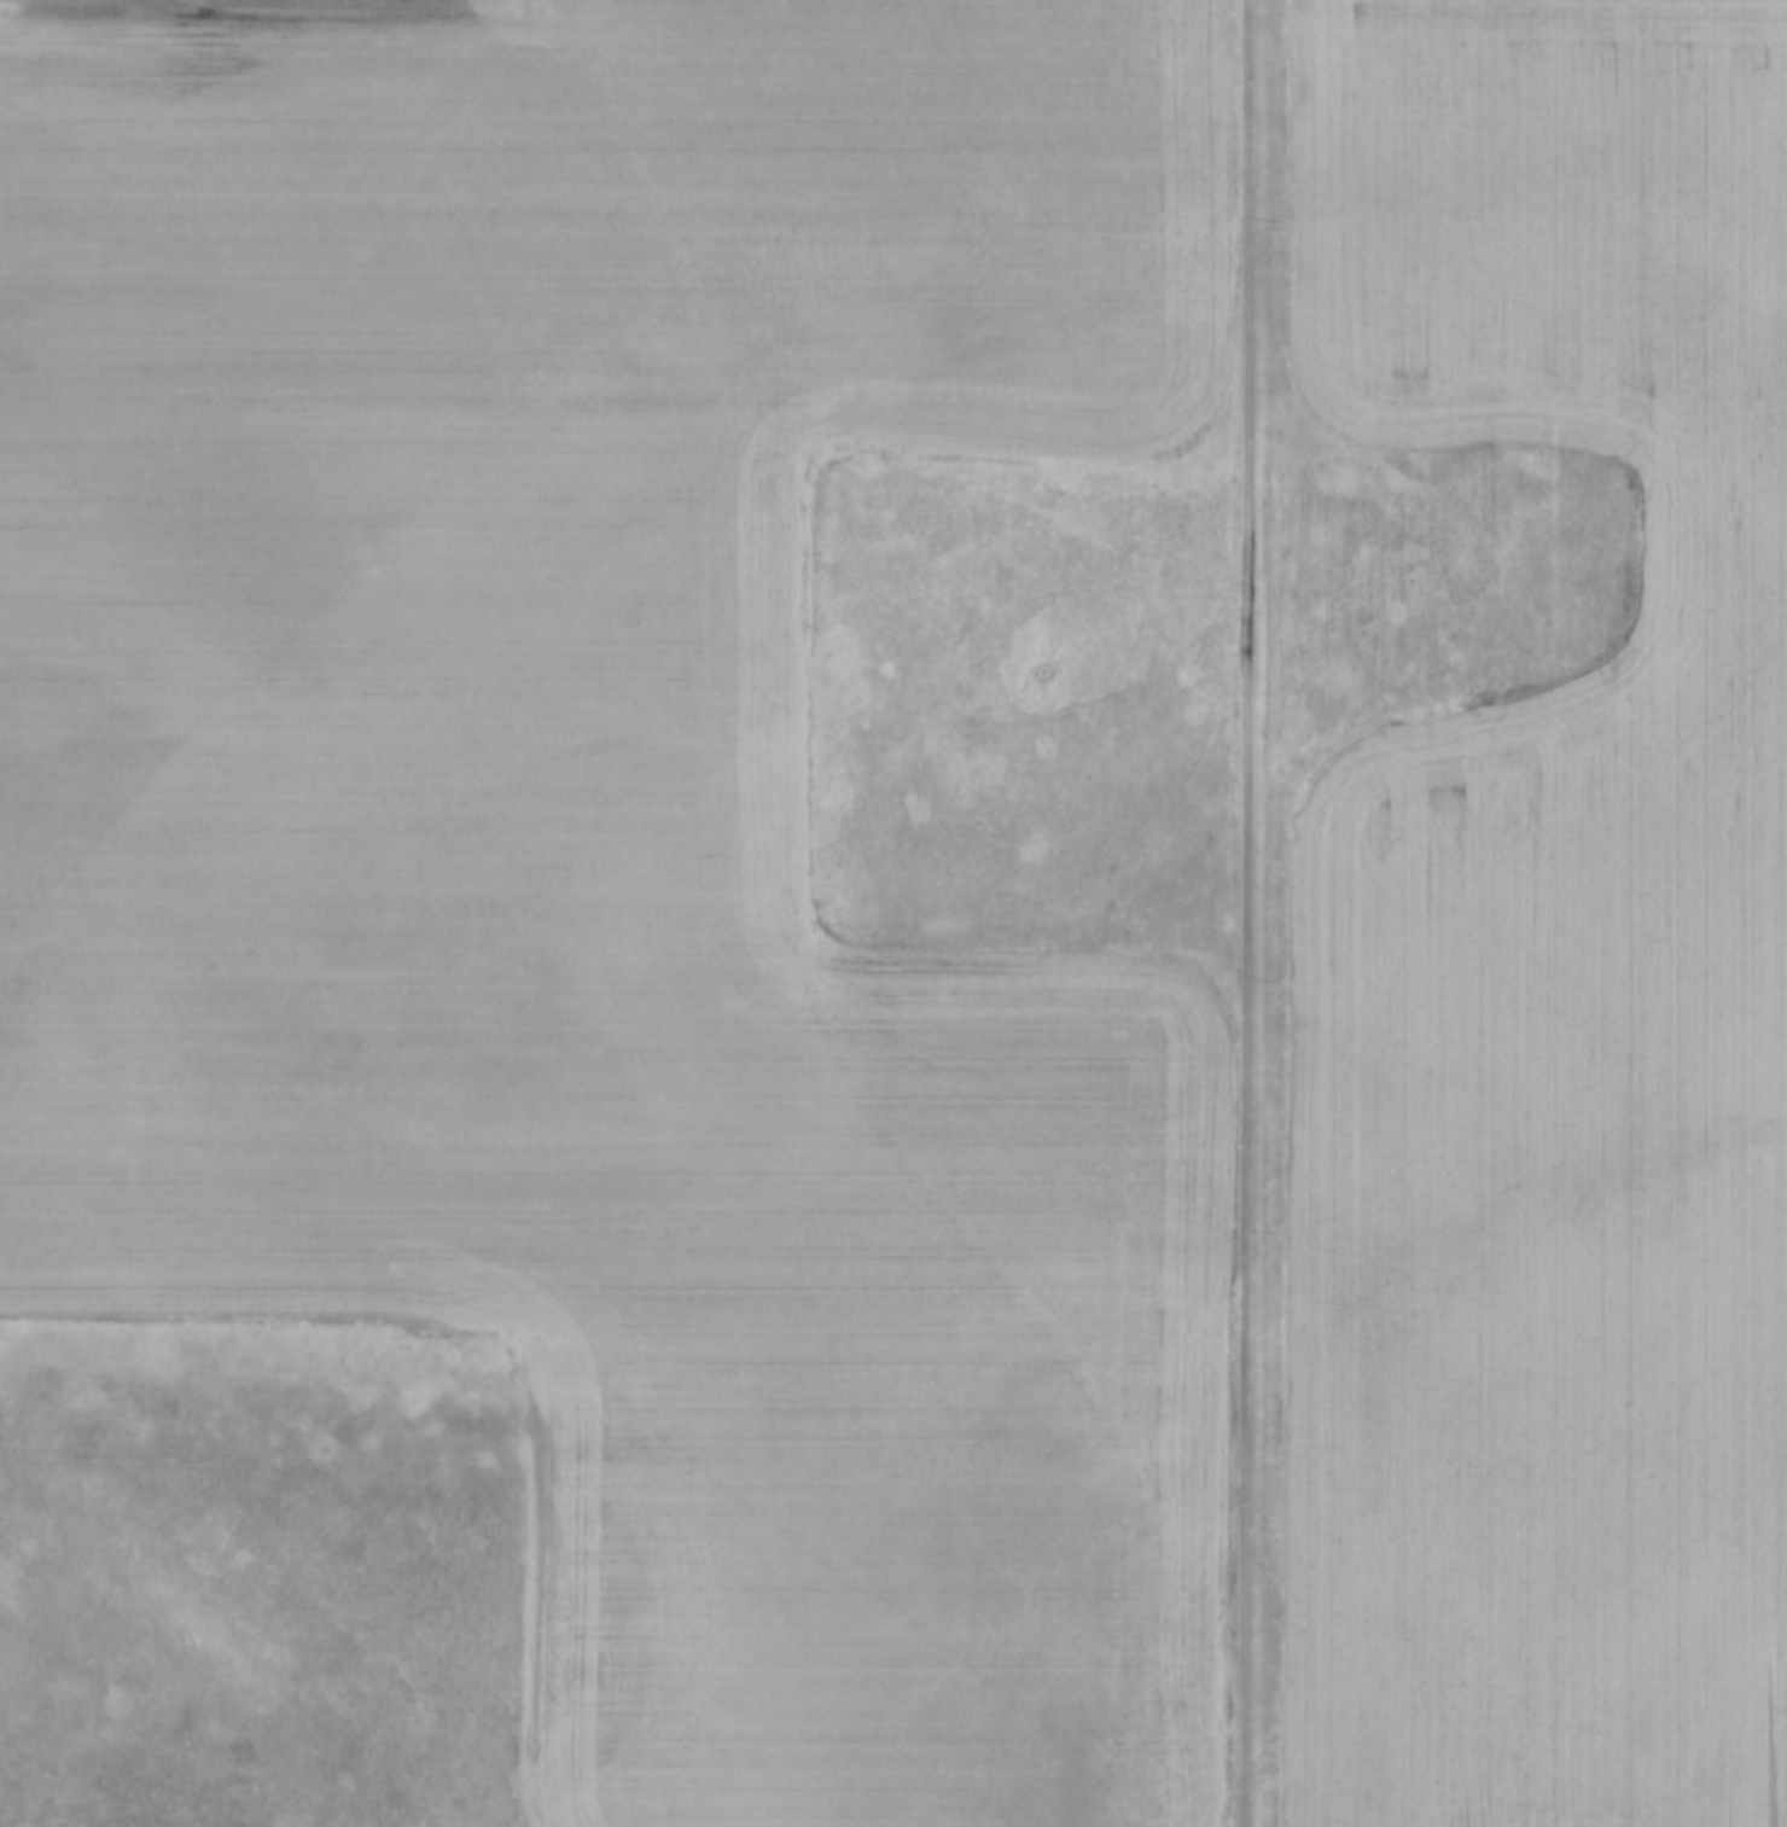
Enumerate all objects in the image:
road: (1236, 913)

